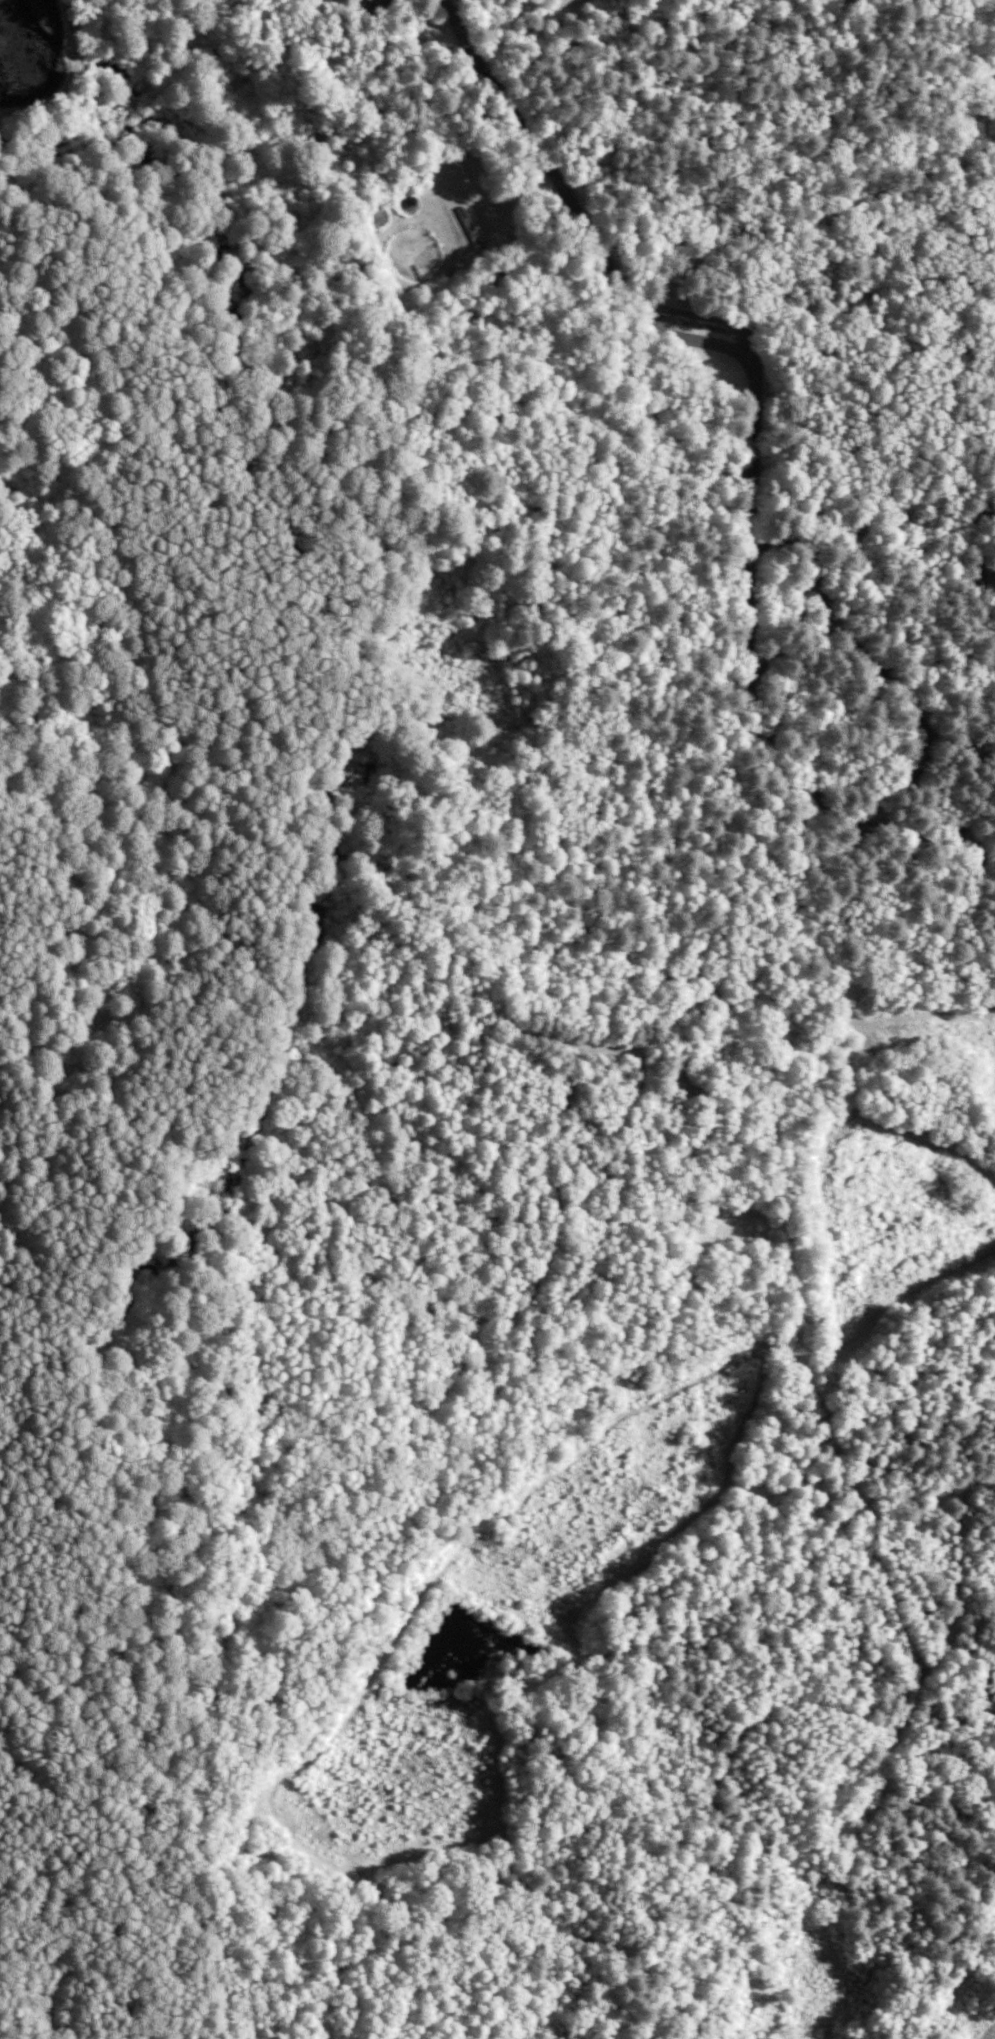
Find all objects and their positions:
road: (68, 79)
road: (630, 295)
park: (413, 716)

